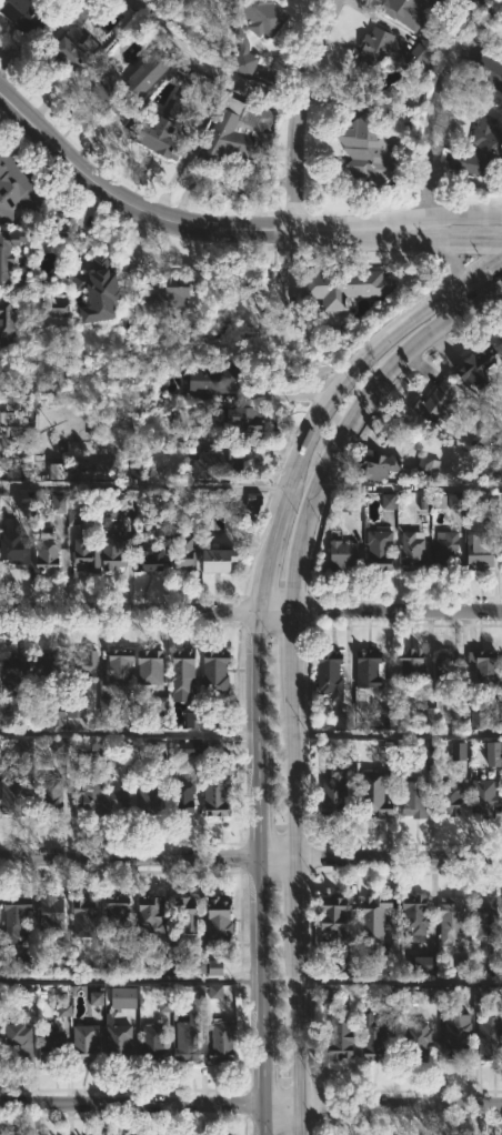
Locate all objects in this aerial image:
building: (435, 0)
building: (455, 1)
building: (410, 14)
building: (28, 17)
building: (254, 28)
building: (74, 37)
building: (376, 48)
building: (419, 60)
road: (207, 64)
building: (491, 69)
building: (147, 73)
building: (108, 94)
road: (434, 104)
road: (300, 111)
building: (167, 130)
building: (244, 132)
building: (370, 149)
building: (481, 152)
building: (19, 187)
road: (456, 218)
road: (495, 218)
road: (190, 223)
road: (462, 239)
road: (441, 247)
building: (9, 254)
road: (285, 260)
building: (345, 287)
building: (101, 289)
building: (180, 291)
building: (56, 311)
building: (10, 318)
building: (481, 365)
building: (220, 379)
building: (441, 399)
building: (248, 420)
building: (16, 428)
building: (482, 439)
building: (220, 464)
building: (383, 466)
building: (429, 468)
road: (485, 469)
building: (56, 471)
building: (102, 471)
road: (409, 486)
building: (23, 498)
building: (388, 501)
building: (454, 501)
building: (58, 503)
building: (120, 509)
building: (74, 515)
building: (19, 546)
building: (501, 548)
building: (381, 549)
building: (415, 551)
building: (0, 552)
building: (50, 552)
building: (116, 552)
building: (185, 553)
building: (451, 553)
building: (482, 553)
building: (89, 554)
building: (343, 554)
building: (150, 559)
building: (223, 560)
road: (279, 610)
road: (130, 611)
road: (399, 611)
road: (260, 643)
building: (84, 663)
building: (414, 664)
building: (121, 666)
building: (151, 666)
building: (51, 669)
road: (295, 669)
building: (372, 669)
building: (486, 669)
building: (446, 670)
building: (331, 671)
building: (14, 672)
building: (217, 673)
building: (183, 675)
building: (159, 704)
building: (76, 710)
building: (388, 716)
building: (425, 717)
building: (57, 719)
building: (476, 719)
building: (192, 720)
building: (344, 720)
road: (130, 733)
road: (399, 734)
building: (212, 745)
building: (188, 747)
building: (159, 750)
building: (458, 751)
building: (492, 753)
building: (99, 755)
building: (338, 791)
building: (51, 793)
building: (375, 794)
building: (218, 795)
building: (414, 795)
building: (17, 796)
building: (183, 796)
building: (486, 797)
building: (103, 798)
building: (453, 798)
building: (150, 800)
road: (131, 858)
road: (281, 860)
road: (400, 860)
building: (0, 912)
building: (119, 913)
building: (152, 914)
building: (187, 914)
building: (418, 914)
building: (52, 915)
building: (84, 915)
building: (17, 917)
building: (335, 917)
building: (376, 918)
building: (488, 918)
building: (221, 920)
building: (453, 920)
building: (59, 957)
building: (23, 962)
building: (347, 962)
building: (129, 963)
building: (423, 964)
building: (198, 966)
building: (460, 966)
building: (214, 967)
road: (400, 980)
road: (130, 981)
building: (214, 992)
building: (429, 995)
building: (478, 995)
building: (122, 997)
building: (96, 998)
building: (28, 1001)
building: (63, 1010)
building: (460, 1032)
building: (343, 1037)
building: (375, 1037)
building: (223, 1038)
building: (491, 1038)
building: (21, 1041)
building: (153, 1041)
building: (188, 1041)
building: (86, 1042)
building: (120, 1042)
building: (420, 1043)
building: (53, 1045)
building: (2, 1047)
road: (130, 1105)
road: (279, 1108)
road: (399, 1108)

